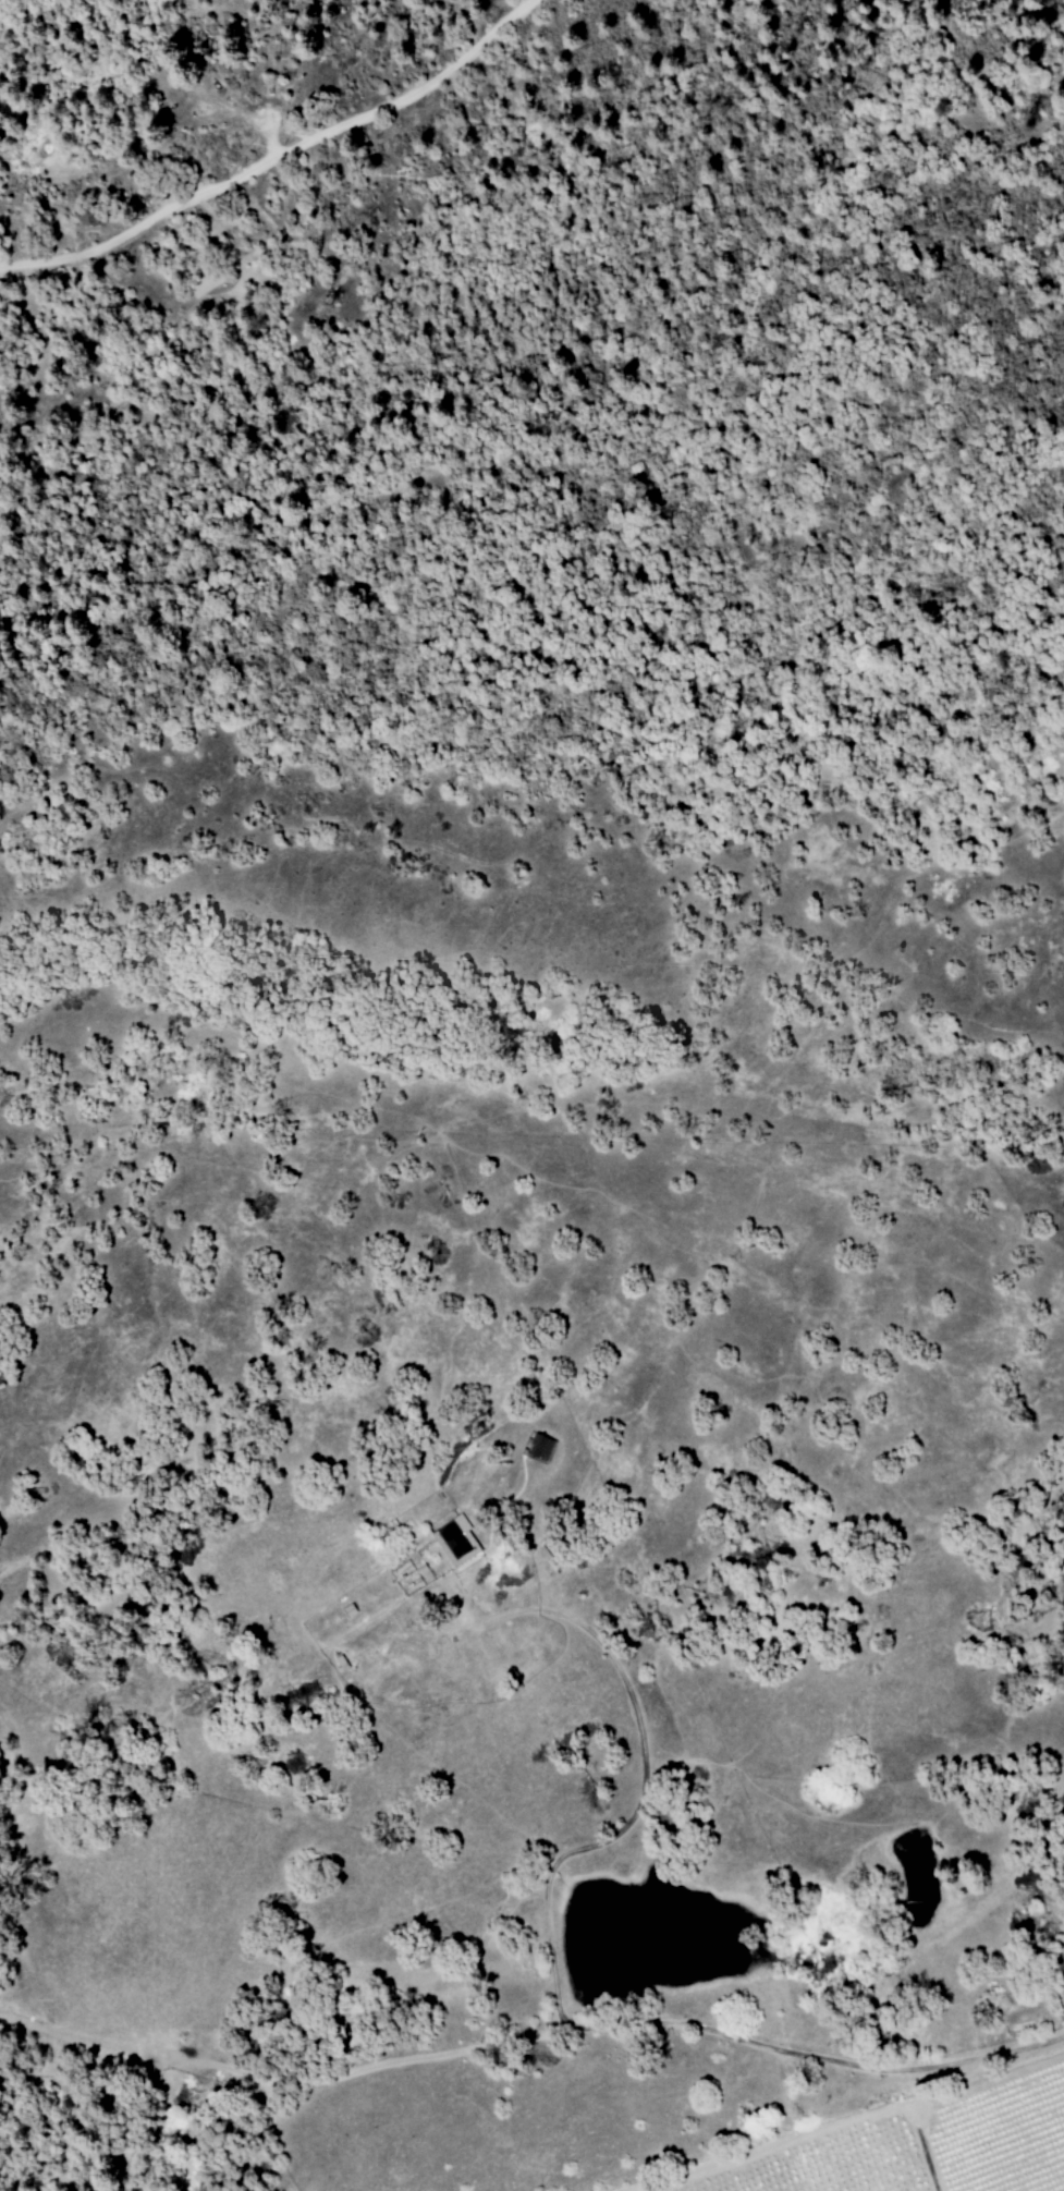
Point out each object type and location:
road: (276, 155)
road: (1062, 793)
building: (539, 1448)
road: (553, 1973)
road: (926, 2153)

